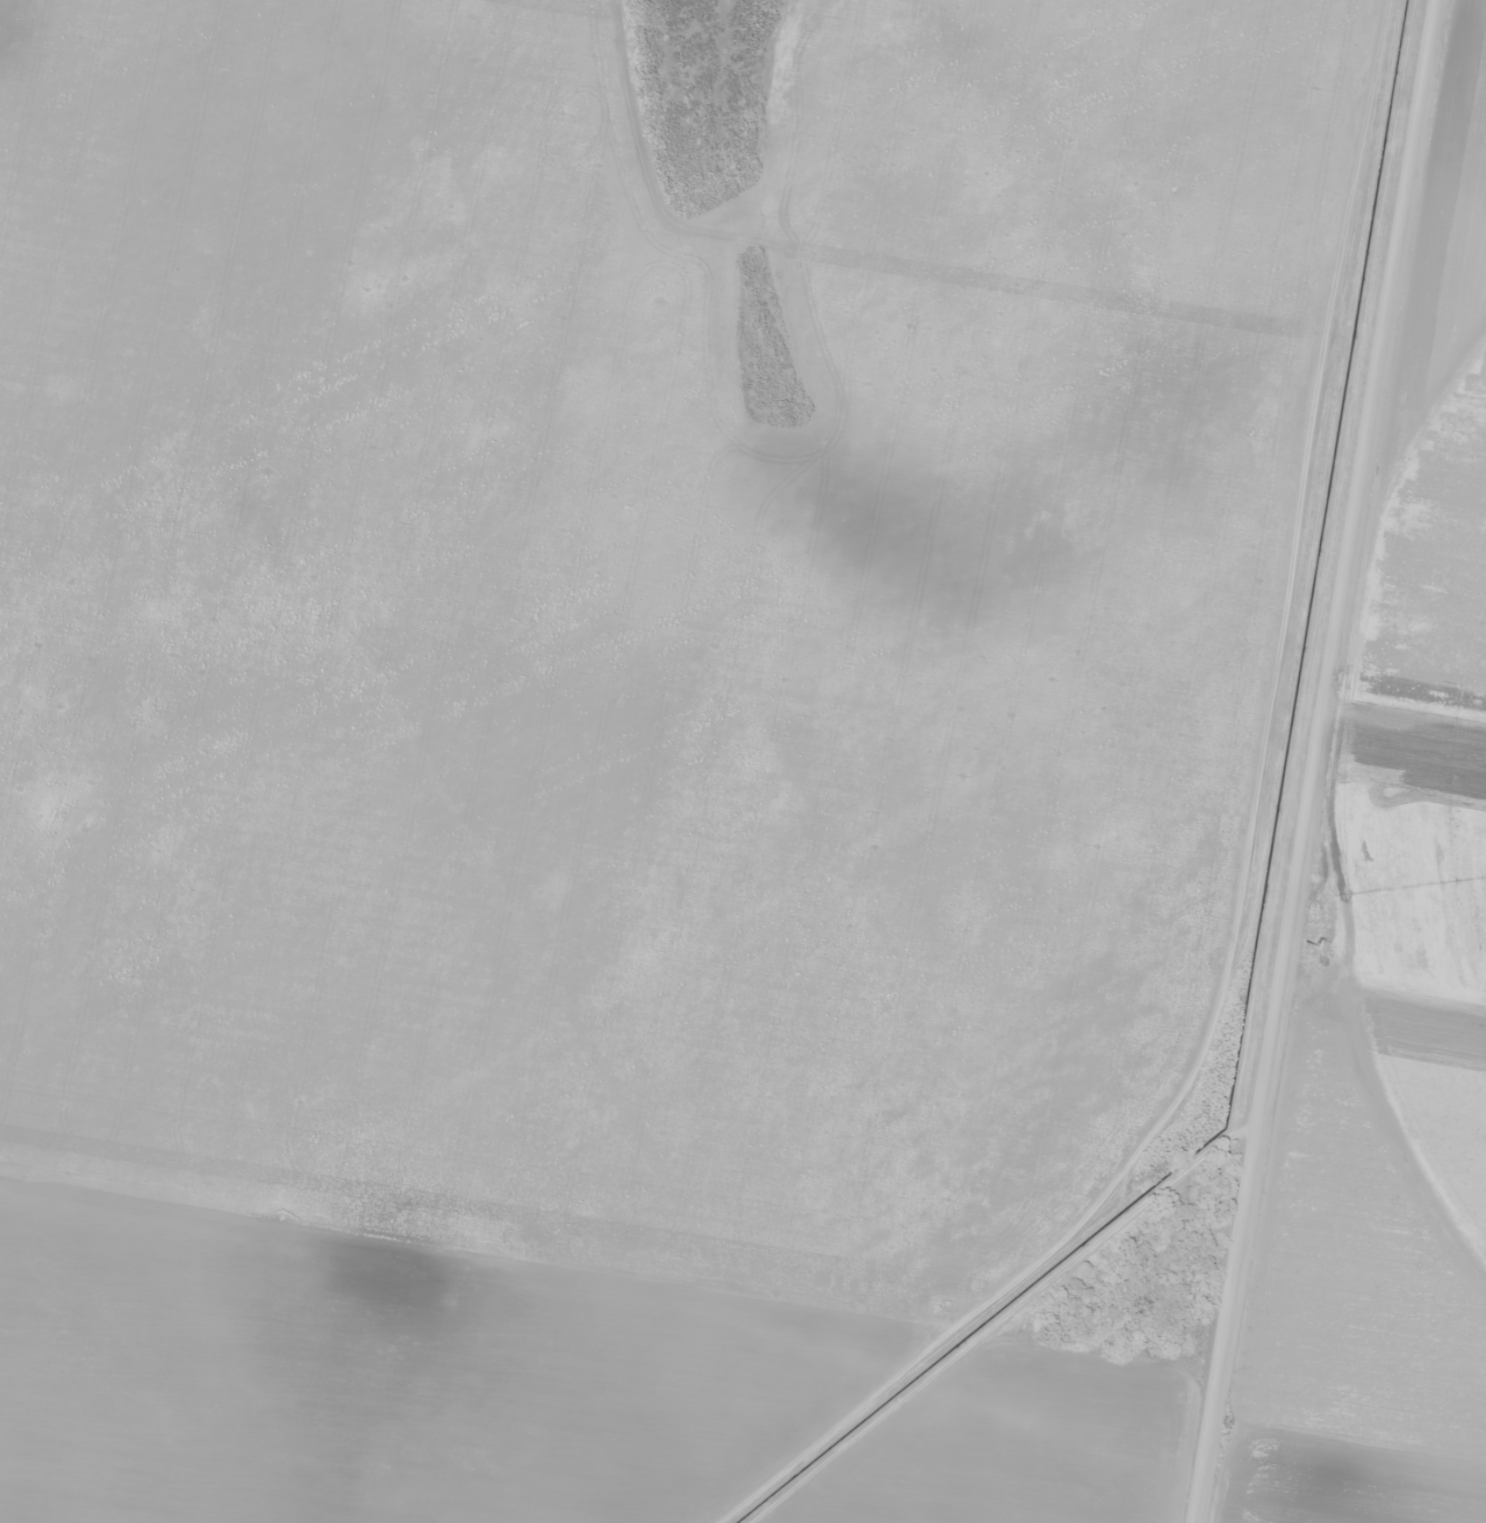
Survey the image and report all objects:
road: (1311, 760)
road: (526, 1322)
road: (1133, 1439)

